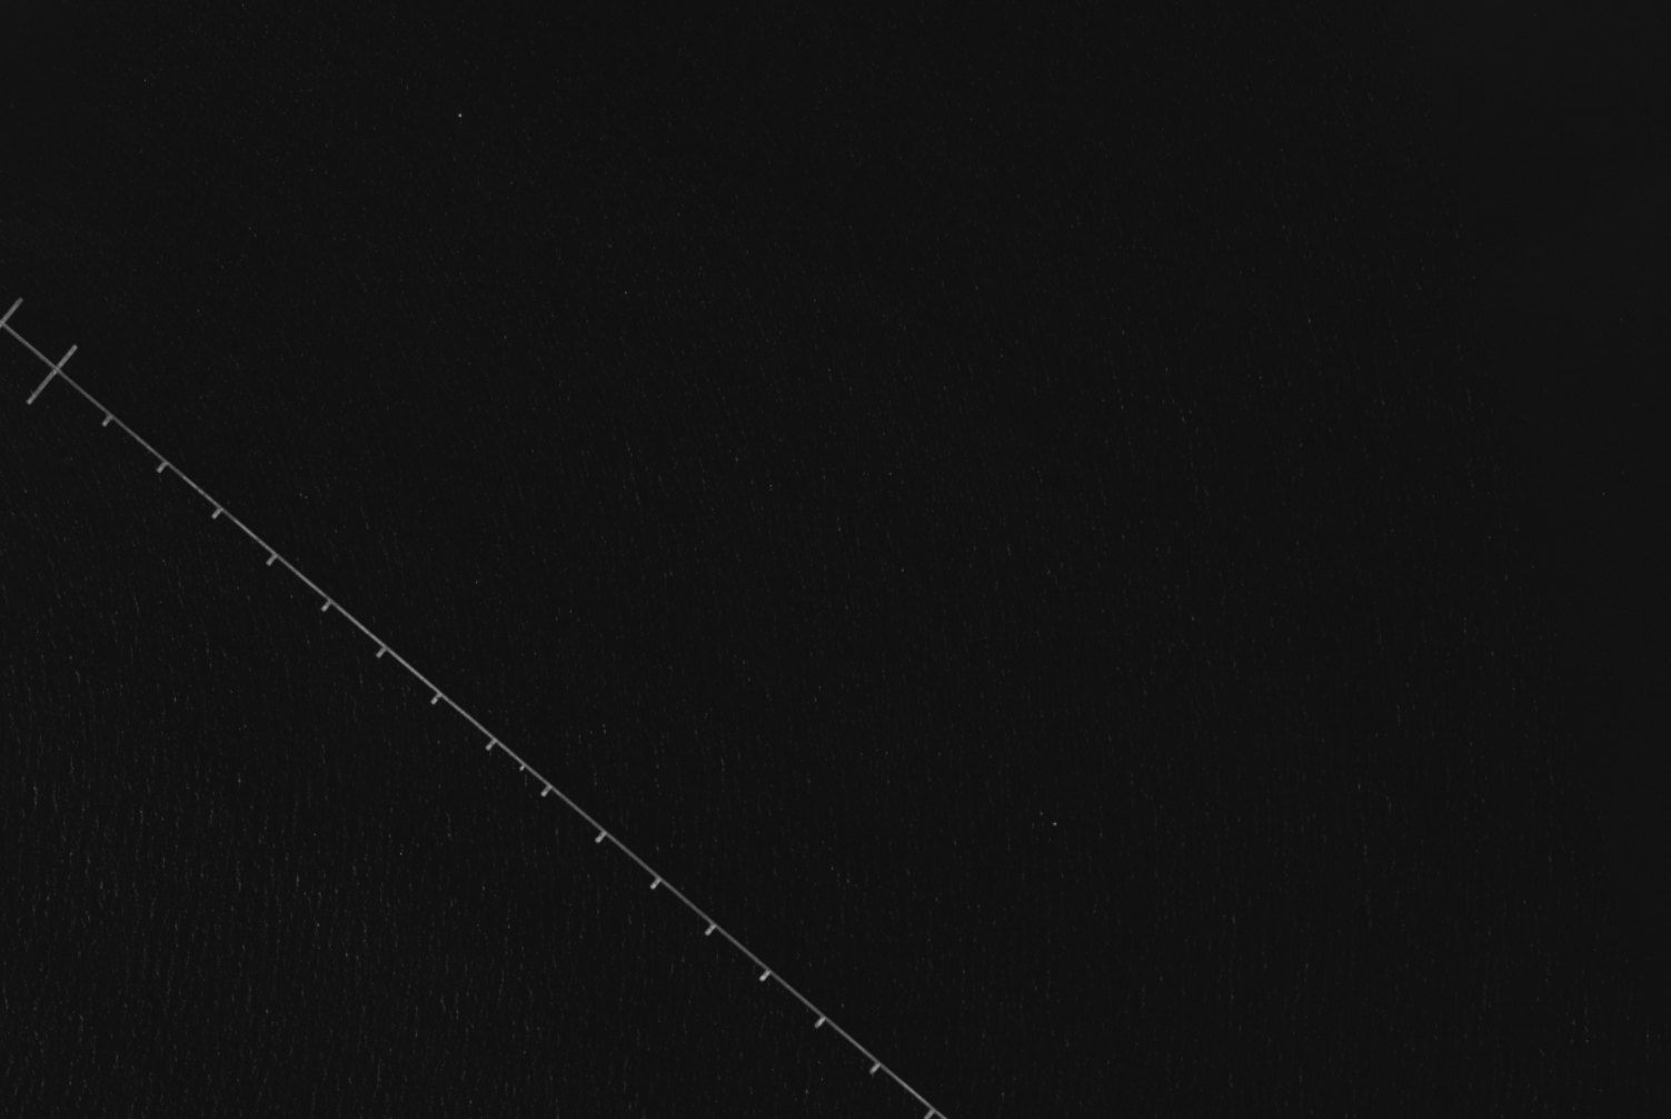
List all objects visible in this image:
pier: (473, 720)

